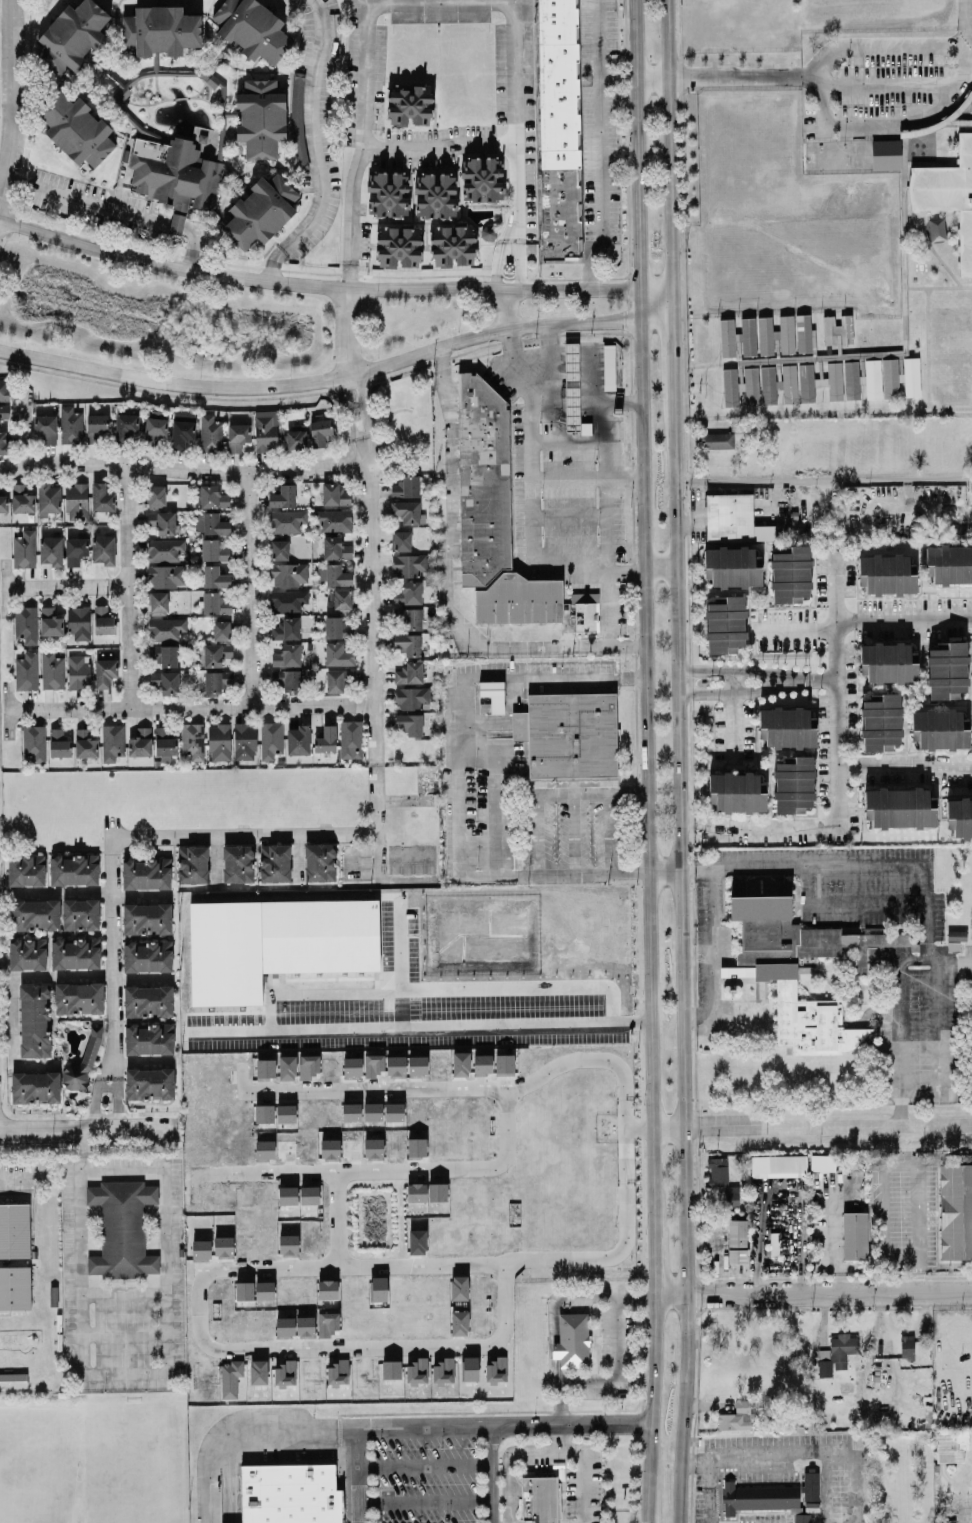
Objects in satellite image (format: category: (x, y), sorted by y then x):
road: (966, 23)
building: (252, 28)
building: (160, 30)
building: (72, 36)
road: (825, 57)
road: (745, 77)
road: (653, 79)
road: (889, 87)
building: (410, 105)
road: (15, 108)
building: (261, 117)
road: (917, 121)
building: (76, 129)
building: (559, 129)
road: (446, 135)
road: (519, 141)
road: (371, 142)
road: (637, 143)
road: (600, 144)
road: (670, 149)
building: (886, 154)
building: (482, 179)
building: (388, 194)
building: (436, 194)
building: (948, 194)
building: (260, 211)
building: (489, 232)
building: (399, 245)
building: (452, 245)
road: (278, 255)
road: (316, 285)
road: (655, 294)
road: (640, 304)
road: (656, 310)
road: (507, 311)
road: (611, 320)
building: (838, 329)
road: (347, 332)
building: (804, 333)
building: (787, 334)
building: (766, 335)
building: (727, 336)
building: (748, 336)
road: (672, 349)
road: (511, 362)
road: (550, 363)
building: (609, 367)
road: (537, 370)
building: (912, 376)
building: (890, 377)
building: (873, 378)
building: (851, 380)
building: (835, 381)
building: (807, 382)
road: (292, 383)
building: (790, 383)
building: (751, 385)
building: (769, 385)
building: (573, 386)
building: (730, 387)
building: (4, 389)
road: (586, 402)
road: (352, 405)
building: (4, 409)
building: (70, 425)
building: (96, 425)
building: (125, 426)
building: (155, 426)
building: (45, 429)
road: (24, 430)
building: (265, 432)
building: (319, 432)
building: (181, 433)
building: (210, 433)
building: (238, 436)
building: (718, 440)
building: (3, 442)
road: (569, 443)
road: (182, 469)
road: (586, 476)
road: (824, 478)
road: (532, 479)
building: (406, 486)
building: (335, 493)
building: (156, 495)
building: (213, 496)
building: (283, 496)
building: (48, 497)
building: (102, 497)
building: (21, 499)
building: (76, 500)
building: (4, 503)
road: (450, 503)
building: (406, 511)
building: (493, 514)
road: (569, 515)
building: (333, 519)
building: (287, 520)
building: (162, 521)
building: (210, 523)
road: (607, 524)
building: (402, 540)
building: (24, 548)
building: (336, 548)
road: (570, 548)
building: (103, 549)
building: (165, 549)
building: (214, 549)
building: (279, 549)
building: (51, 550)
building: (75, 550)
building: (409, 564)
building: (949, 564)
road: (661, 571)
road: (589, 572)
building: (289, 574)
building: (887, 574)
building: (166, 575)
building: (334, 575)
building: (791, 575)
building: (215, 576)
road: (67, 586)
road: (5, 587)
road: (129, 587)
road: (249, 590)
building: (408, 592)
road: (371, 597)
building: (342, 598)
building: (287, 599)
building: (159, 602)
building: (215, 603)
building: (584, 611)
building: (412, 618)
road: (903, 619)
building: (103, 620)
building: (50, 621)
building: (78, 621)
building: (25, 624)
building: (725, 624)
building: (336, 627)
building: (166, 628)
building: (286, 628)
building: (220, 629)
road: (793, 630)
building: (408, 643)
road: (559, 646)
building: (216, 653)
building: (165, 654)
building: (338, 654)
building: (287, 655)
building: (888, 663)
building: (52, 670)
building: (947, 670)
building: (26, 671)
building: (78, 671)
building: (105, 671)
road: (739, 671)
building: (409, 672)
road: (551, 677)
building: (286, 678)
building: (217, 680)
building: (336, 680)
road: (822, 681)
building: (165, 682)
road: (803, 682)
road: (740, 693)
building: (493, 694)
building: (411, 697)
road: (190, 707)
road: (7, 710)
road: (734, 718)
building: (409, 722)
road: (482, 722)
building: (881, 722)
building: (787, 727)
building: (940, 729)
building: (568, 734)
building: (326, 738)
building: (271, 739)
building: (298, 739)
building: (351, 739)
building: (192, 740)
building: (112, 741)
building: (164, 741)
building: (219, 741)
building: (245, 741)
building: (33, 742)
building: (140, 742)
building: (59, 743)
building: (85, 743)
road: (482, 748)
road: (836, 755)
road: (904, 764)
road: (458, 775)
road: (646, 777)
building: (794, 785)
building: (737, 792)
road: (592, 794)
road: (405, 802)
building: (900, 807)
road: (493, 810)
building: (959, 817)
road: (691, 818)
road: (609, 832)
road: (572, 833)
road: (279, 834)
road: (537, 834)
road: (297, 856)
road: (216, 858)
building: (274, 862)
building: (320, 862)
building: (238, 863)
building: (192, 864)
road: (848, 865)
building: (26, 869)
building: (74, 869)
road: (553, 871)
road: (664, 871)
building: (146, 873)
road: (385, 877)
road: (62, 894)
road: (139, 899)
road: (848, 907)
building: (35, 914)
building: (81, 914)
building: (147, 918)
building: (957, 935)
building: (275, 943)
building: (75, 952)
building: (28, 953)
road: (111, 953)
building: (147, 955)
road: (711, 956)
road: (682, 960)
building: (795, 960)
road: (396, 961)
road: (935, 963)
road: (91, 980)
road: (317, 994)
building: (78, 997)
building: (148, 1001)
road: (698, 1017)
building: (34, 1020)
road: (420, 1025)
building: (149, 1039)
road: (900, 1042)
road: (12, 1047)
road: (938, 1050)
road: (141, 1062)
building: (461, 1063)
building: (504, 1063)
building: (373, 1064)
building: (482, 1064)
building: (308, 1065)
building: (418, 1065)
building: (396, 1066)
building: (287, 1067)
building: (352, 1067)
building: (265, 1068)
building: (149, 1084)
building: (35, 1087)
road: (95, 1096)
road: (115, 1099)
building: (372, 1110)
building: (351, 1111)
building: (394, 1111)
building: (264, 1112)
building: (286, 1113)
road: (812, 1127)
road: (90, 1129)
road: (640, 1129)
building: (416, 1147)
building: (373, 1148)
building: (264, 1149)
building: (330, 1149)
road: (895, 1161)
building: (779, 1165)
road: (387, 1171)
building: (718, 1171)
road: (40, 1172)
building: (416, 1191)
building: (437, 1191)
building: (309, 1194)
building: (287, 1195)
building: (732, 1195)
building: (955, 1210)
road: (628, 1218)
road: (337, 1219)
building: (122, 1228)
building: (13, 1229)
building: (855, 1235)
building: (737, 1240)
building: (417, 1241)
building: (288, 1244)
building: (223, 1246)
building: (201, 1249)
road: (656, 1264)
building: (14, 1287)
building: (458, 1287)
building: (378, 1288)
building: (264, 1289)
building: (327, 1289)
building: (244, 1290)
road: (814, 1292)
building: (54, 1295)
building: (460, 1322)
building: (327, 1323)
building: (305, 1326)
building: (285, 1327)
road: (553, 1337)
road: (617, 1338)
building: (572, 1340)
building: (907, 1346)
road: (398, 1347)
building: (837, 1353)
building: (470, 1368)
building: (391, 1369)
building: (497, 1370)
building: (259, 1371)
building: (417, 1371)
building: (444, 1371)
road: (125, 1372)
building: (286, 1373)
building: (338, 1373)
building: (230, 1378)
building: (13, 1380)
road: (652, 1395)
road: (560, 1403)
building: (737, 1416)
road: (390, 1428)
road: (560, 1437)
building: (952, 1445)
road: (802, 1450)
road: (543, 1451)
park: (134, 1461)
park: (38, 1466)
road: (425, 1466)
road: (492, 1474)
road: (230, 1476)
road: (358, 1476)
road: (828, 1486)
road: (581, 1487)
road: (509, 1489)
road: (712, 1490)
building: (290, 1493)
building: (759, 1497)
building: (540, 1499)
road: (425, 1501)
road: (648, 1510)
building: (802, 1518)

